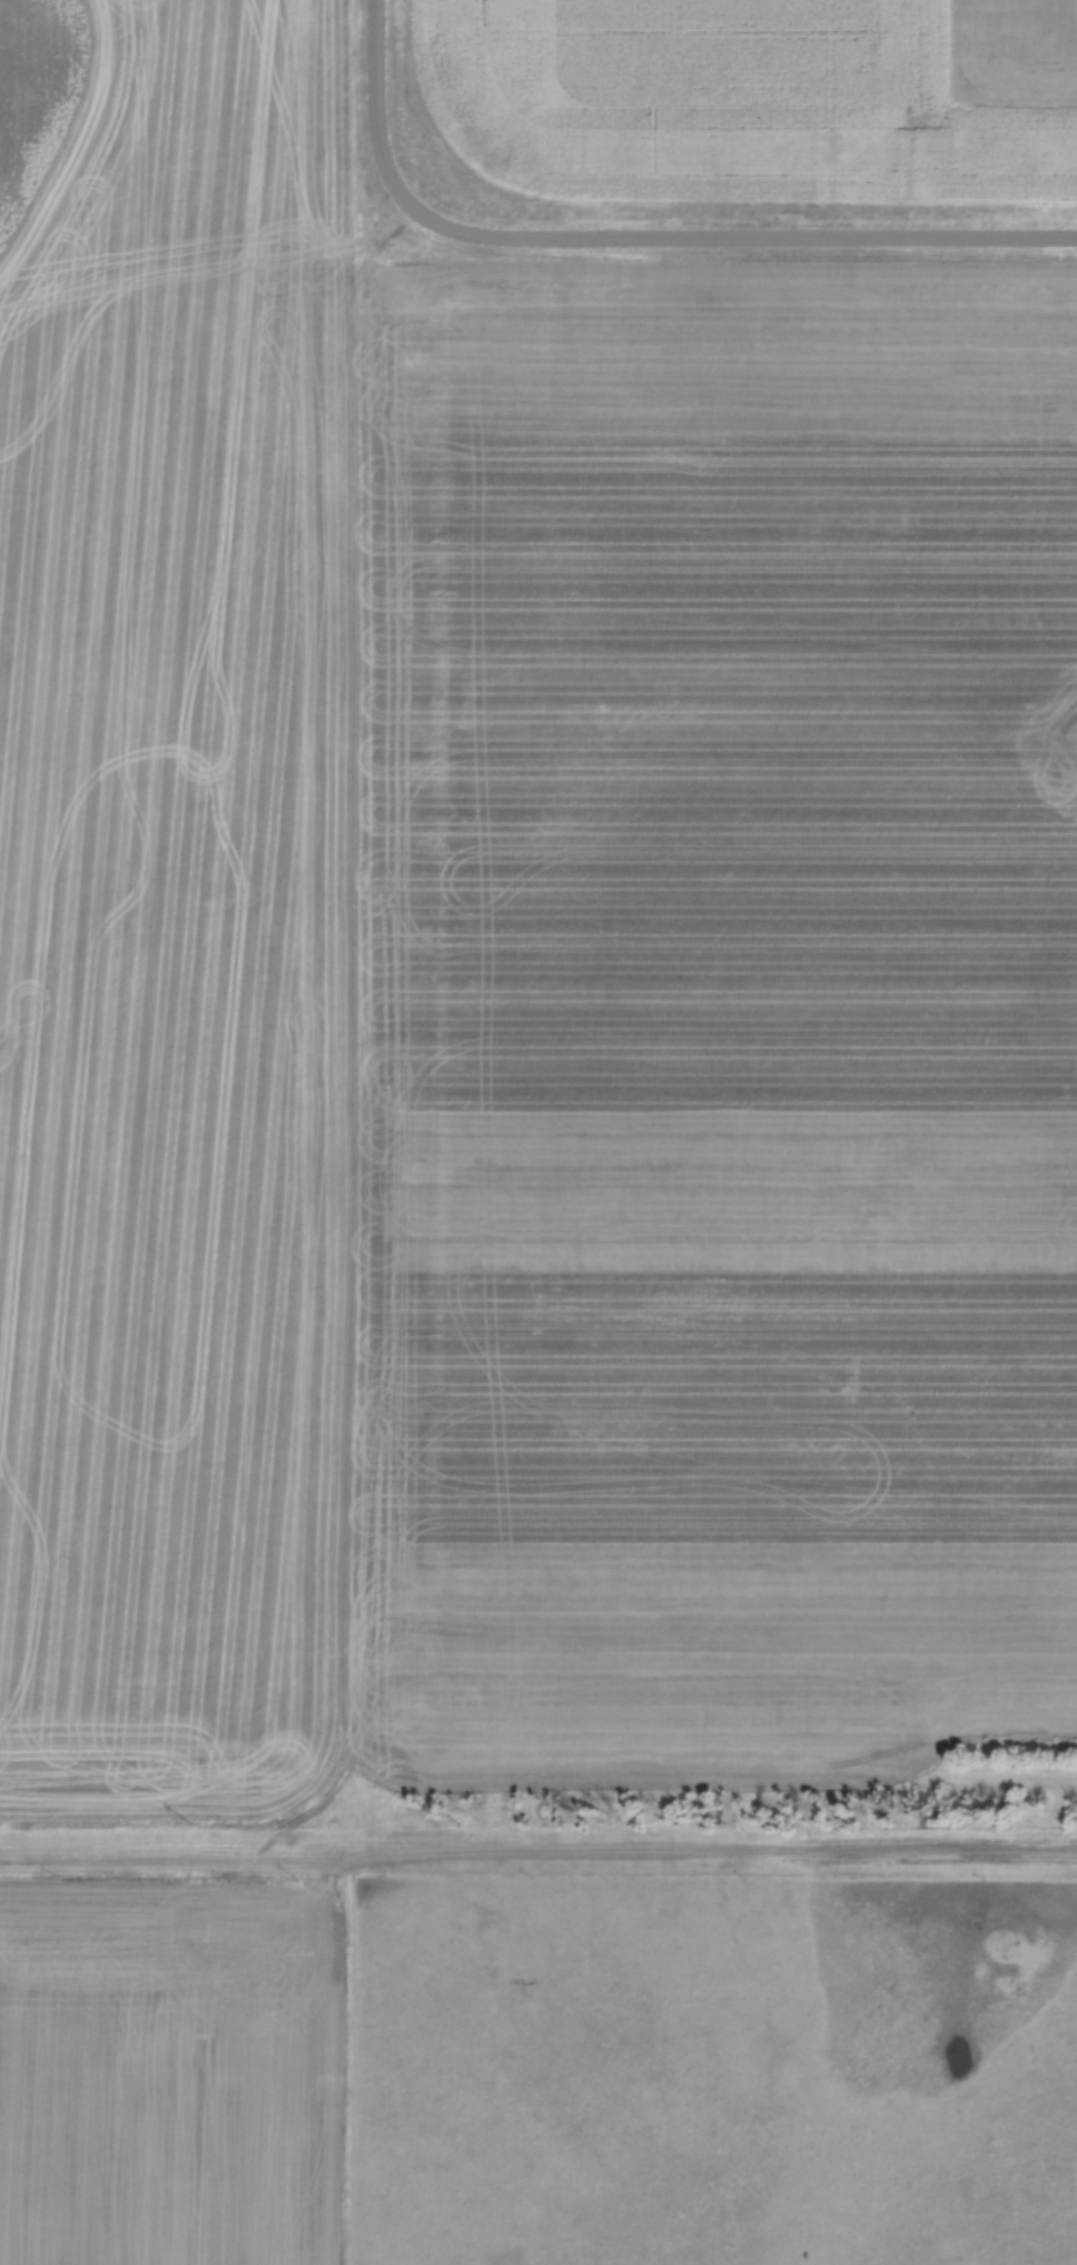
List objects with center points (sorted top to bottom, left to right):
airport: (1010, 51)
road: (635, 234)
crop: (169, 901)

